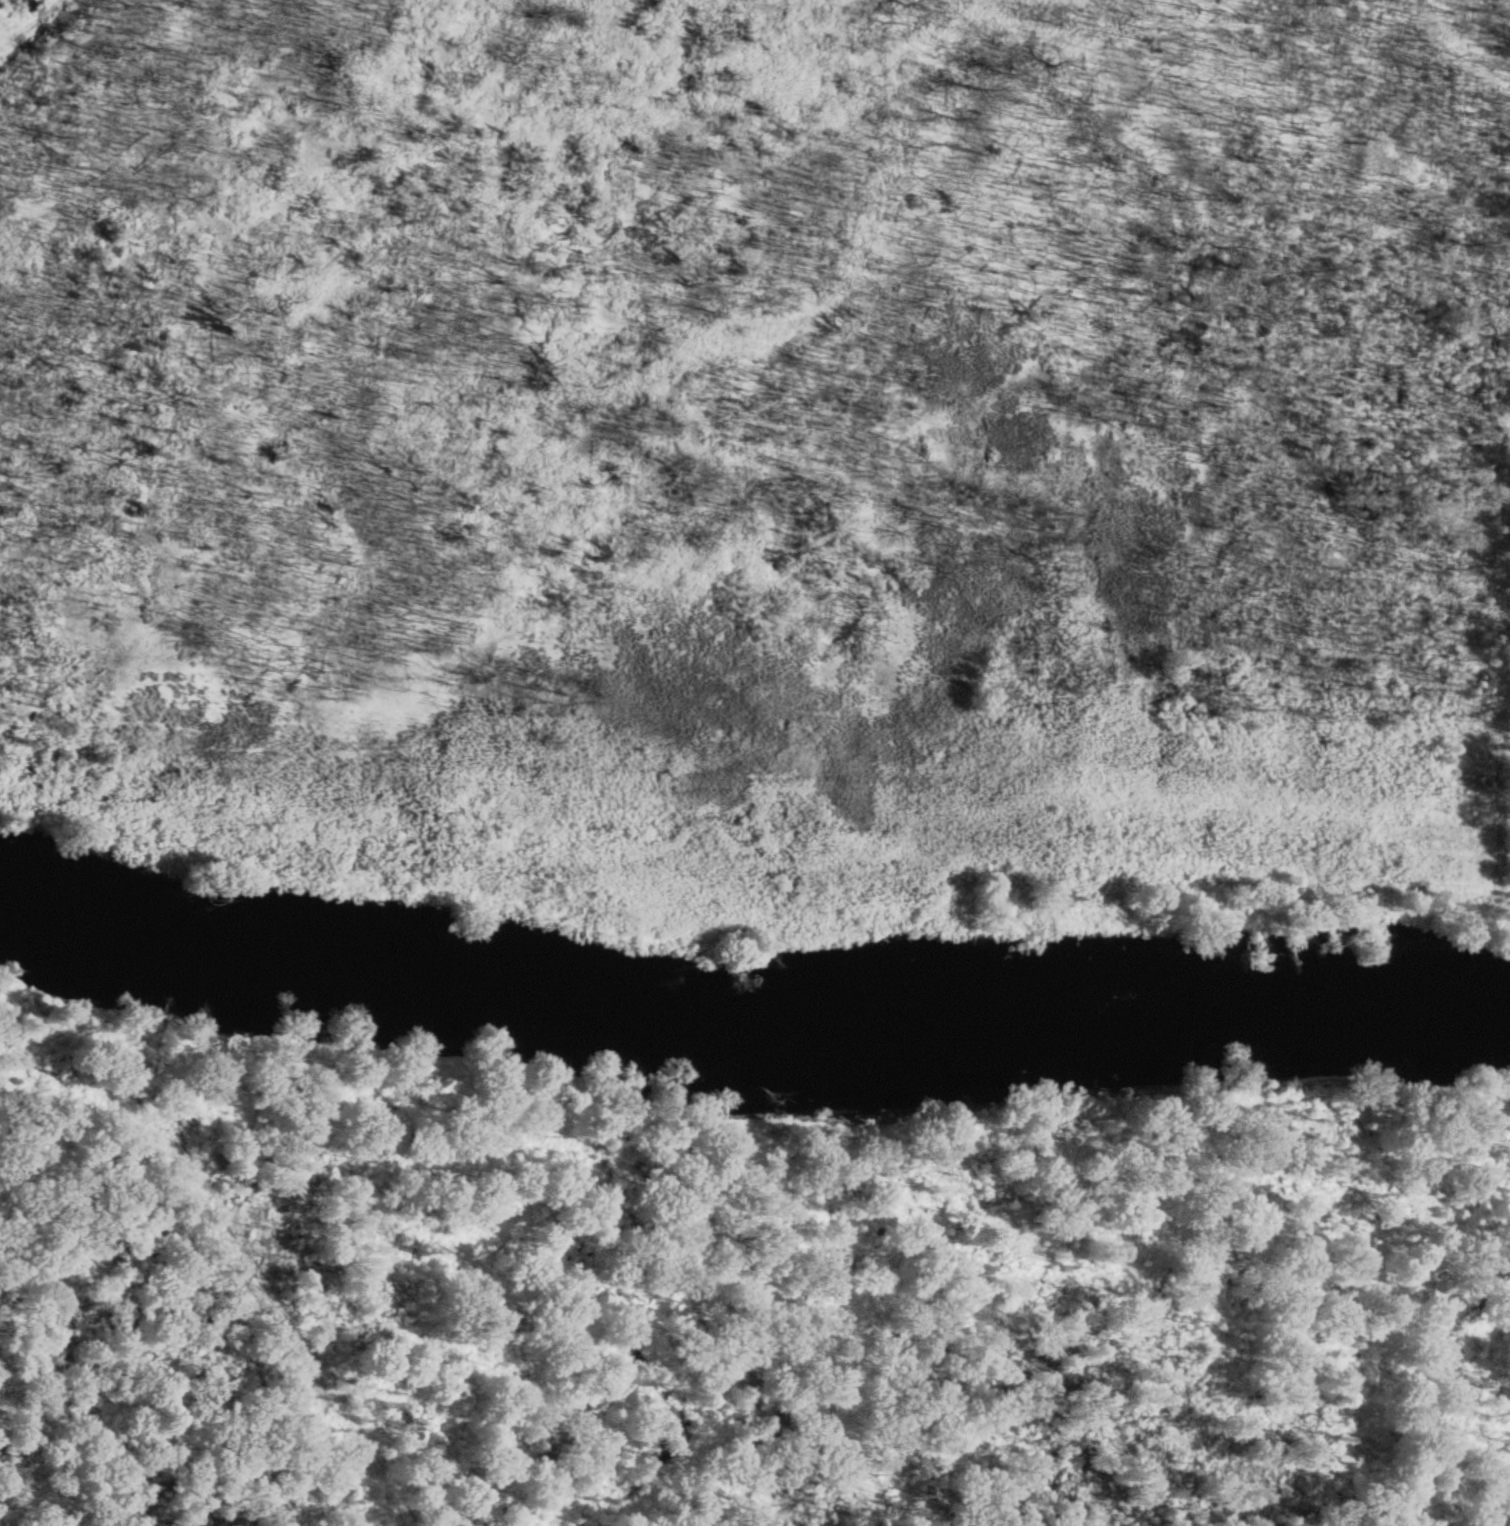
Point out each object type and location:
road: (28, 17)
river: (748, 1030)

